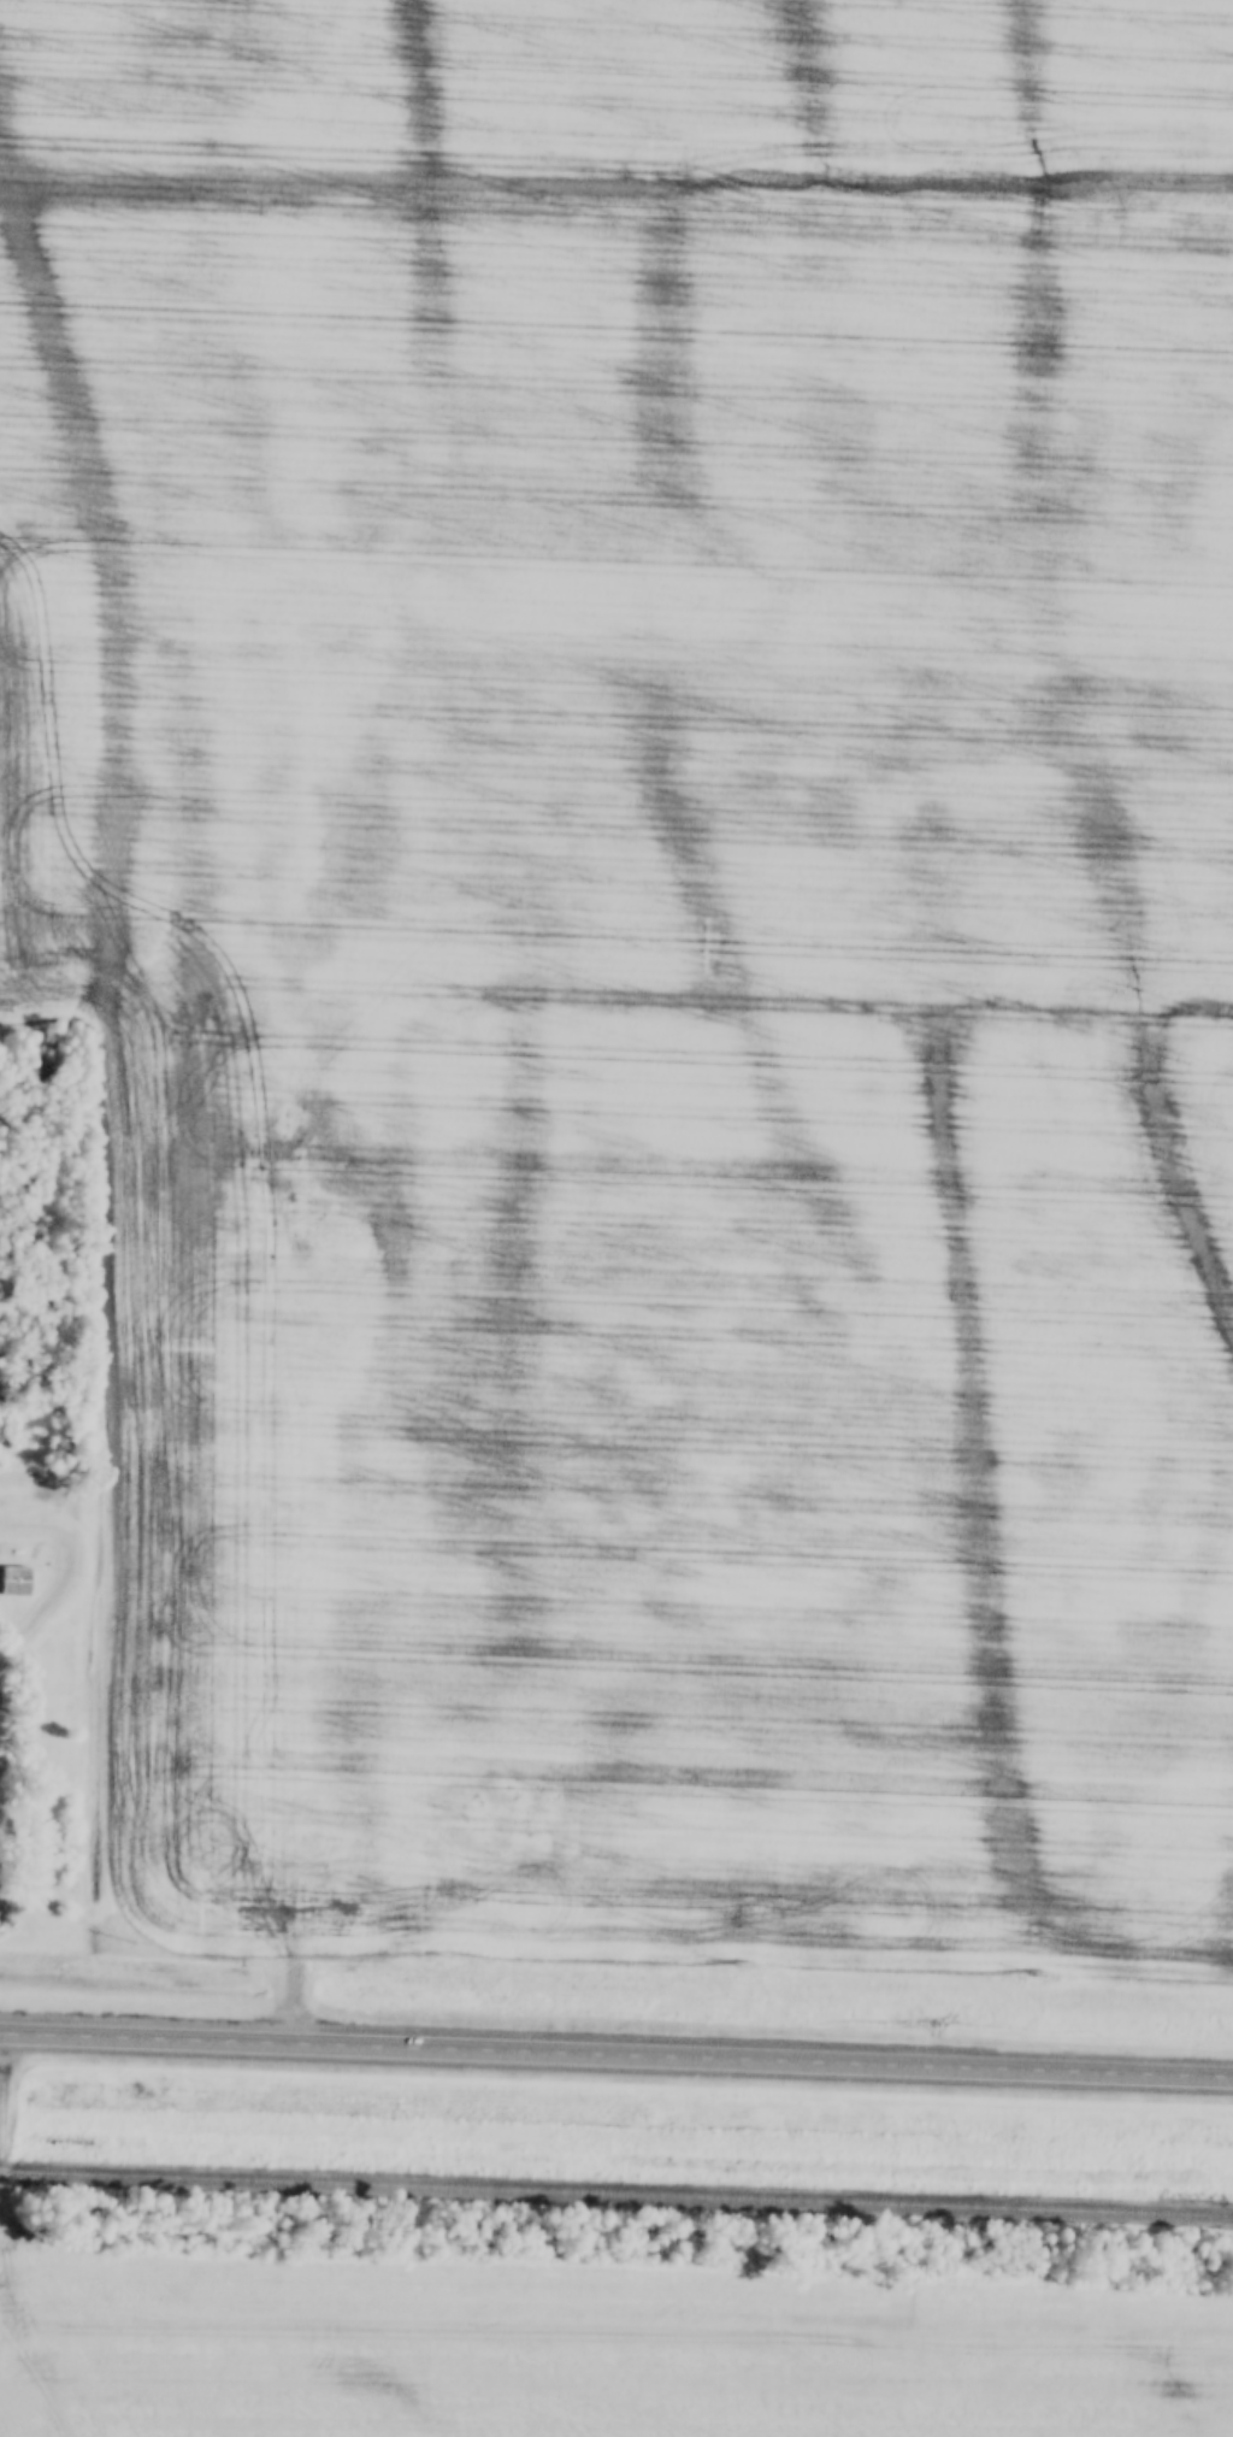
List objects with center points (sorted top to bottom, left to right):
road: (616, 2058)
road: (1, 2138)
railway: (615, 2194)

